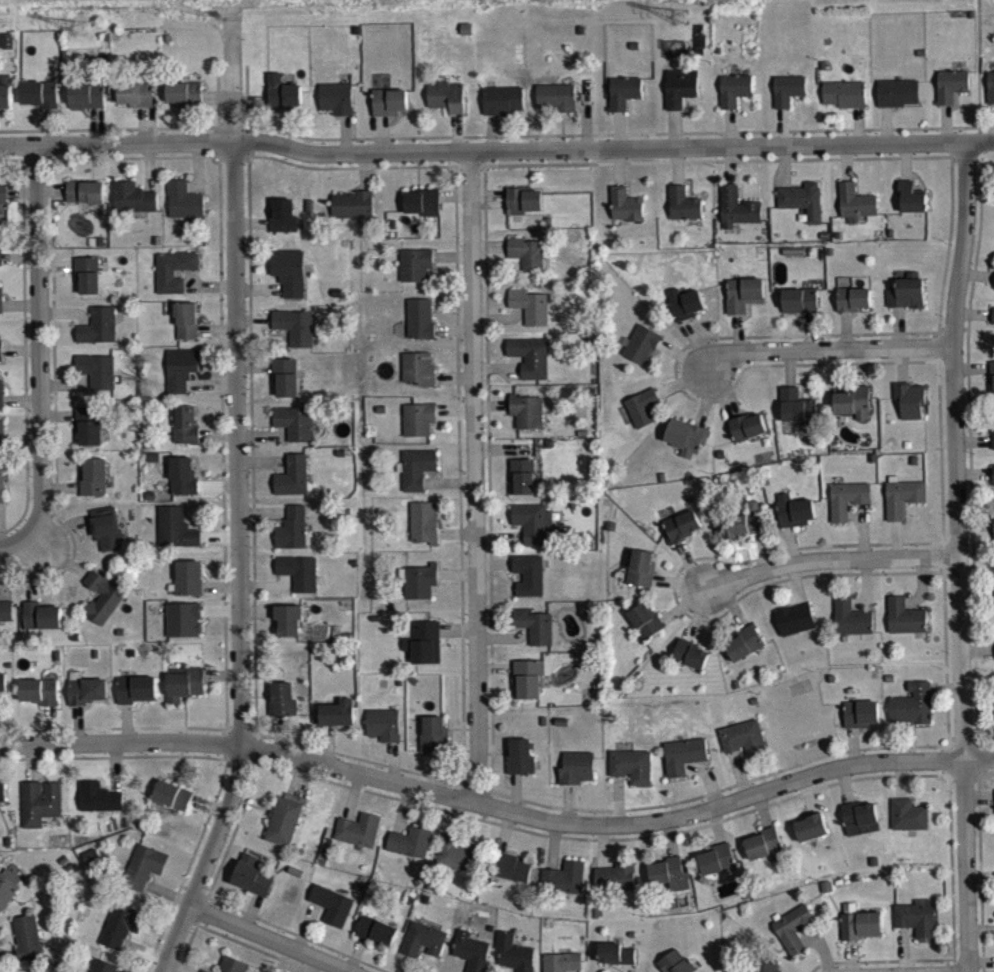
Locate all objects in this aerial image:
power tower: (678, 13)
power tower: (80, 25)
building: (952, 96)
building: (681, 99)
building: (991, 99)
building: (735, 101)
building: (788, 101)
building: (184, 103)
building: (624, 103)
building: (5, 104)
building: (283, 104)
building: (899, 104)
building: (40, 105)
building: (136, 105)
building: (845, 105)
building: (87, 106)
building: (447, 108)
building: (556, 108)
building: (337, 109)
building: (503, 111)
building: (390, 112)
road: (496, 149)
building: (86, 203)
building: (4, 204)
building: (133, 209)
building: (912, 209)
building: (184, 211)
building: (524, 211)
building: (803, 211)
building: (857, 212)
building: (423, 213)
building: (684, 215)
building: (352, 216)
building: (626, 216)
building: (738, 219)
building: (283, 226)
building: (0, 259)
building: (528, 264)
building: (415, 275)
building: (174, 281)
building: (289, 283)
building: (88, 285)
building: (744, 305)
building: (907, 305)
building: (854, 310)
building: (1, 311)
building: (800, 312)
building: (685, 315)
building: (529, 317)
building: (993, 327)
building: (420, 329)
building: (187, 331)
building: (100, 337)
building: (296, 337)
road: (39, 345)
road: (829, 347)
building: (0, 353)
building: (642, 355)
building: (530, 368)
building: (182, 380)
building: (419, 380)
building: (98, 381)
building: (286, 387)
building: (993, 390)
building: (2, 405)
building: (911, 411)
building: (854, 414)
building: (797, 417)
building: (642, 418)
building: (527, 423)
building: (419, 430)
building: (296, 434)
building: (90, 437)
building: (186, 437)
building: (748, 438)
building: (2, 448)
building: (687, 448)
road: (472, 476)
building: (417, 479)
building: (183, 487)
building: (293, 487)
building: (94, 488)
building: (522, 488)
building: (2, 496)
road: (236, 503)
building: (904, 508)
building: (848, 510)
building: (796, 522)
building: (533, 533)
building: (423, 534)
building: (682, 537)
building: (107, 539)
building: (176, 539)
building: (292, 539)
road: (20, 546)
road: (959, 556)
road: (833, 559)
building: (642, 579)
building: (299, 583)
building: (529, 586)
building: (189, 589)
building: (420, 592)
building: (103, 609)
building: (6, 621)
building: (42, 627)
building: (906, 628)
building: (852, 629)
building: (796, 630)
building: (184, 631)
building: (645, 631)
building: (289, 632)
building: (535, 636)
building: (424, 654)
building: (744, 654)
building: (691, 666)
building: (528, 690)
building: (185, 694)
building: (3, 695)
building: (137, 700)
building: (40, 702)
building: (88, 702)
building: (283, 710)
building: (913, 715)
building: (338, 724)
building: (862, 725)
building: (384, 735)
building: (434, 745)
building: (744, 749)
building: (685, 766)
building: (521, 768)
building: (632, 777)
building: (577, 778)
building: (3, 802)
building: (172, 806)
road: (498, 806)
building: (100, 808)
building: (41, 813)
building: (909, 826)
building: (859, 827)
building: (284, 832)
building: (812, 839)
building: (358, 841)
building: (410, 853)
building: (764, 855)
building: (458, 865)
building: (92, 867)
building: (716, 870)
building: (144, 877)
building: (512, 879)
building: (669, 885)
building: (251, 888)
building: (615, 888)
building: (564, 889)
building: (8, 897)
building: (332, 916)
building: (918, 928)
building: (121, 936)
road: (269, 938)
building: (794, 939)
building: (376, 942)
building: (28, 949)
building: (423, 951)
building: (470, 958)
building: (512, 960)
building: (615, 963)
building: (675, 967)
building: (562, 968)
building: (229, 969)
building: (101, 970)

